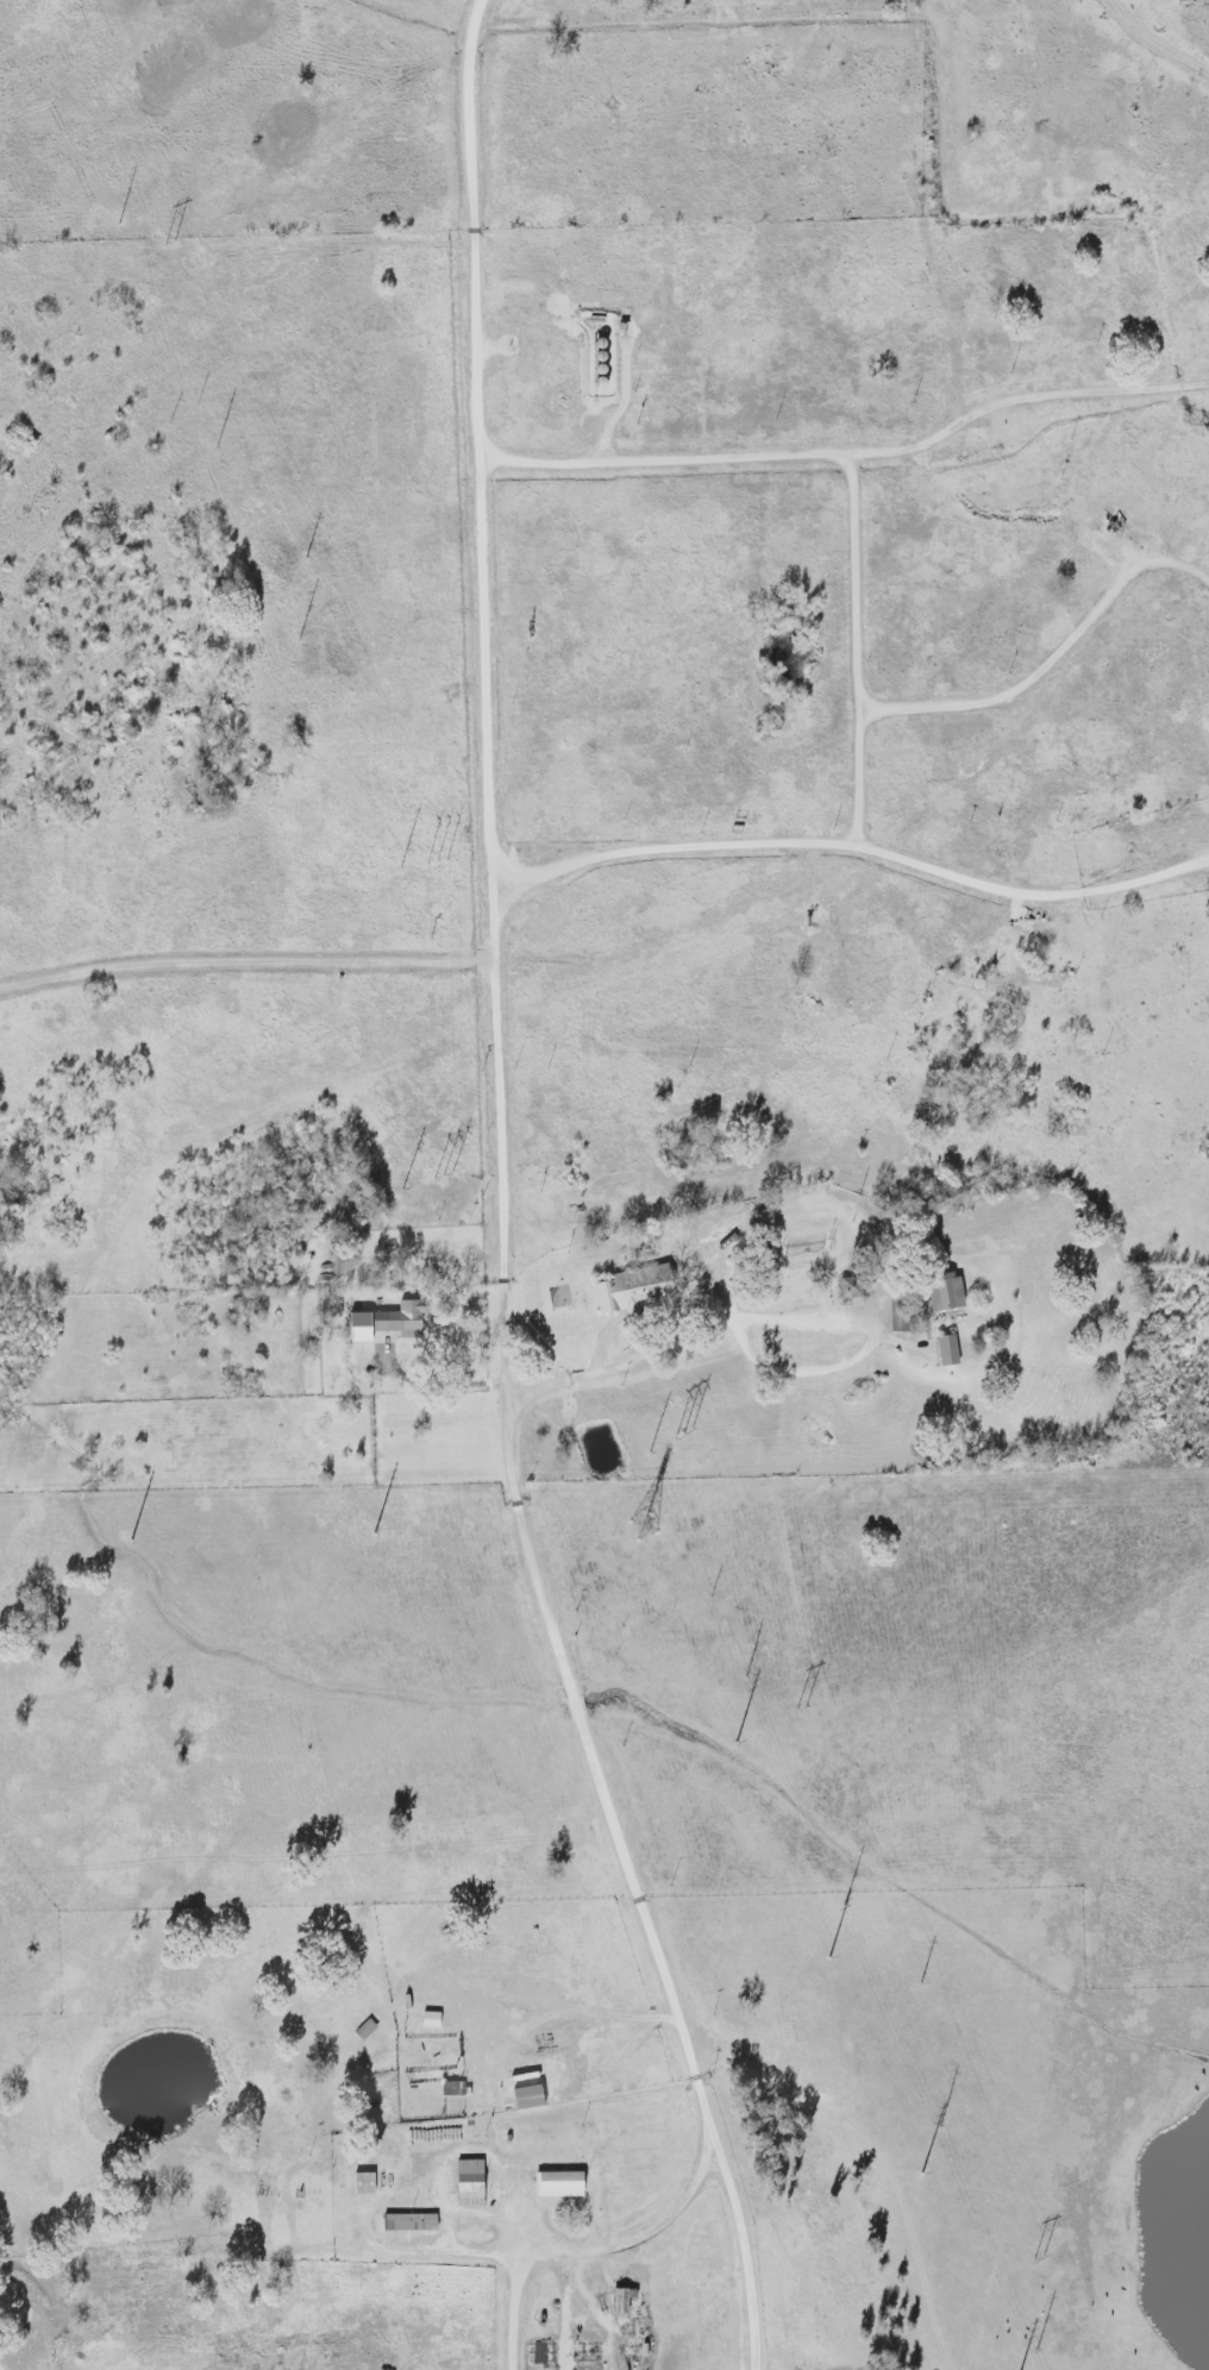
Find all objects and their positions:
road: (1155, 42)
power tower: (168, 242)
road: (852, 454)
road: (483, 507)
power tower: (306, 558)
road: (862, 652)
road: (1051, 654)
road: (846, 847)
power tower: (437, 860)
road: (246, 966)
power tower: (443, 1173)
building: (637, 1289)
building: (941, 1294)
road: (775, 1321)
building: (382, 1322)
building: (944, 1349)
power tower: (683, 1434)
power tower: (644, 1529)
road: (581, 1701)
power tower: (802, 1707)
power tower: (919, 1982)
road: (560, 2005)
building: (524, 2098)
building: (359, 2183)
building: (466, 2183)
building: (555, 2184)
building: (406, 2222)
road: (451, 2253)
power tower: (1039, 2257)
building: (619, 2300)
road: (516, 2312)

